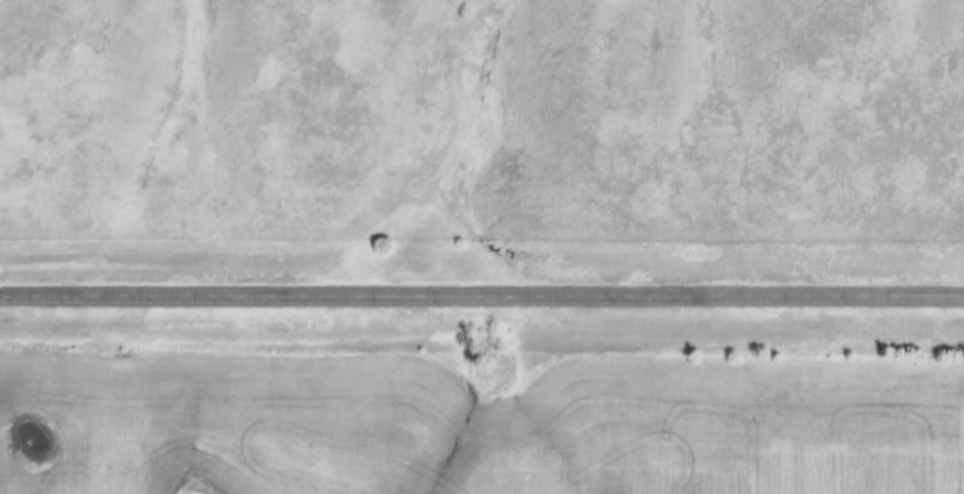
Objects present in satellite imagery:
road: (482, 295)

